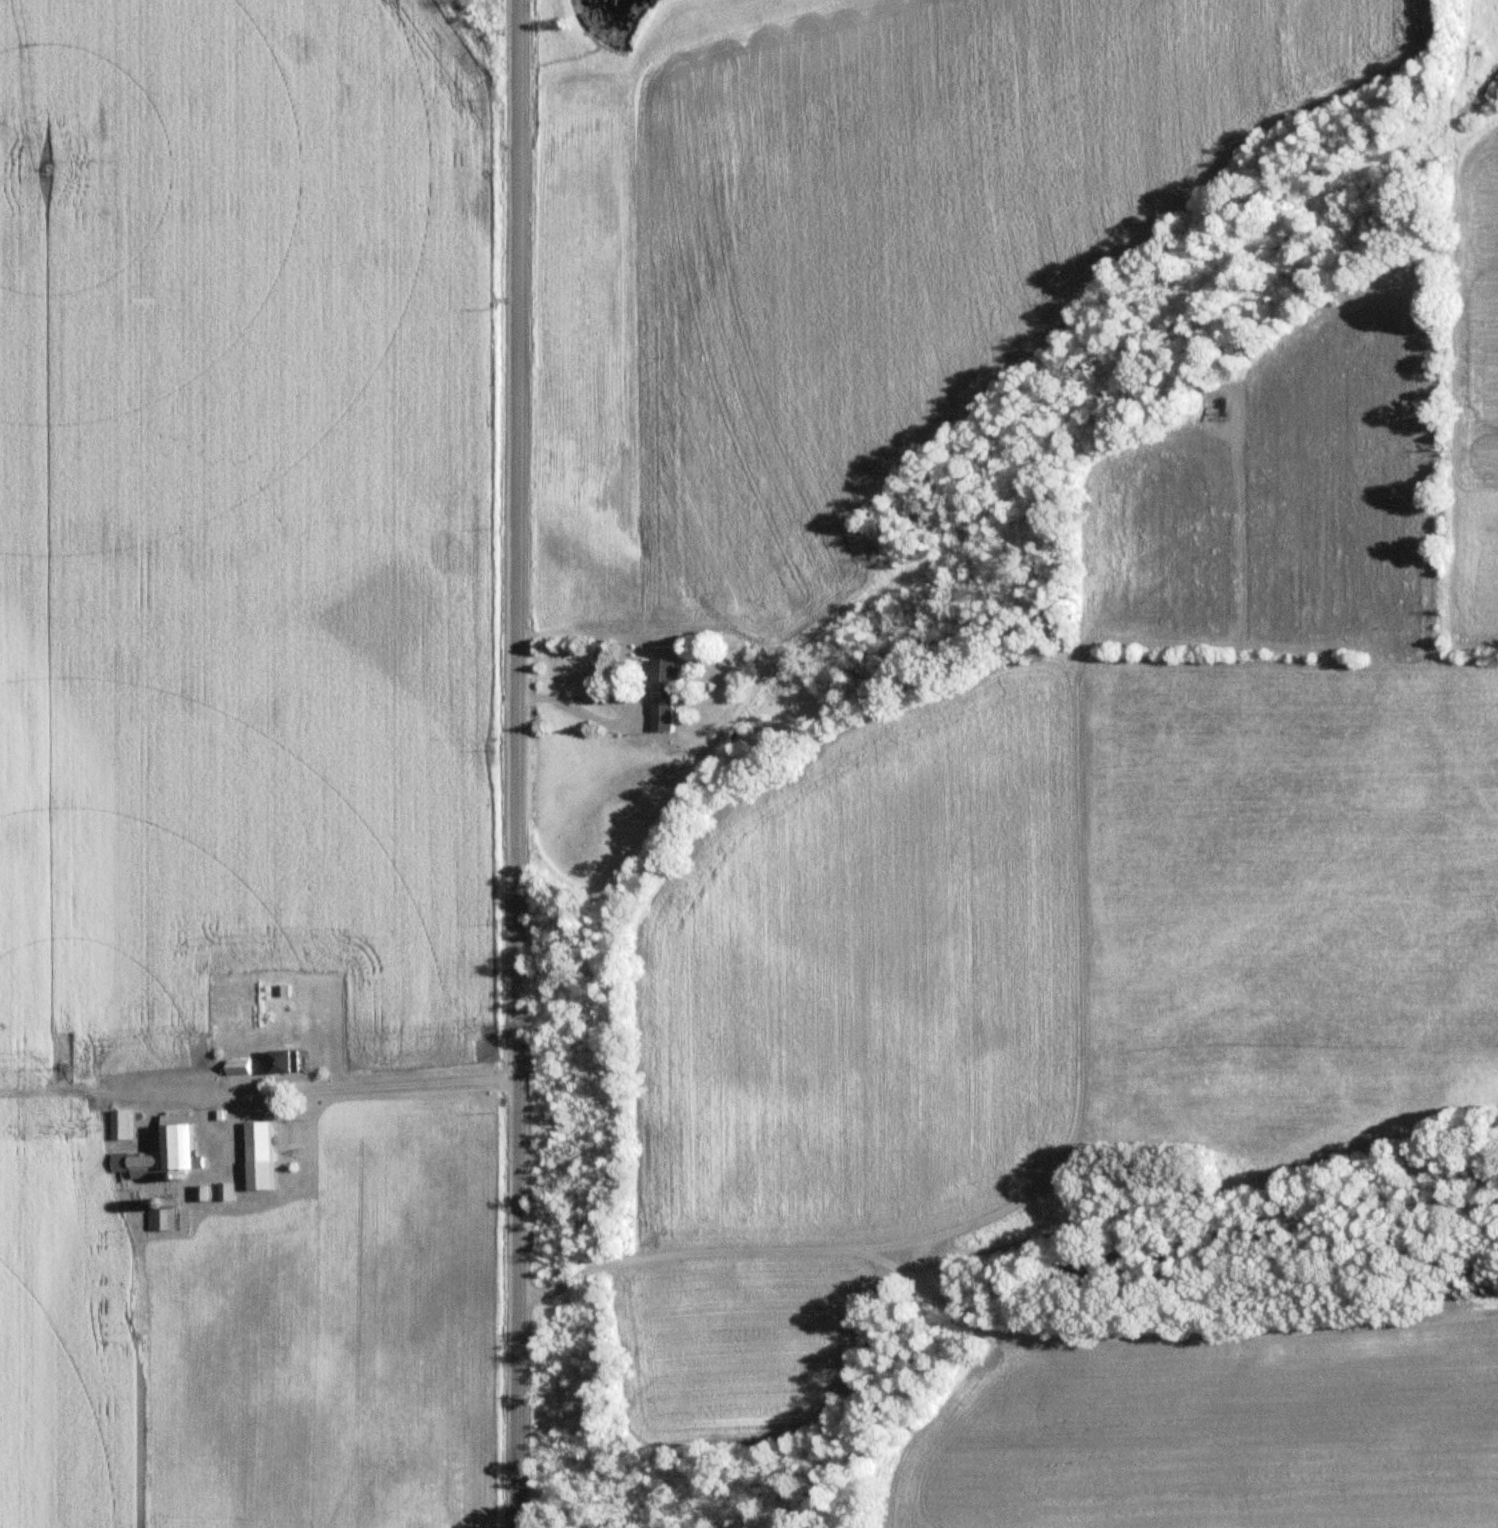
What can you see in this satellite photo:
petroleum well: (1224, 413)
building: (669, 694)
road: (612, 699)
road: (505, 764)
road: (1083, 1011)
building: (287, 1061)
building: (240, 1068)
road: (381, 1084)
building: (126, 1125)
building: (182, 1133)
building: (265, 1156)
building: (228, 1192)
building: (159, 1216)
road: (896, 1244)
road: (993, 1335)
road: (1262, 1431)

